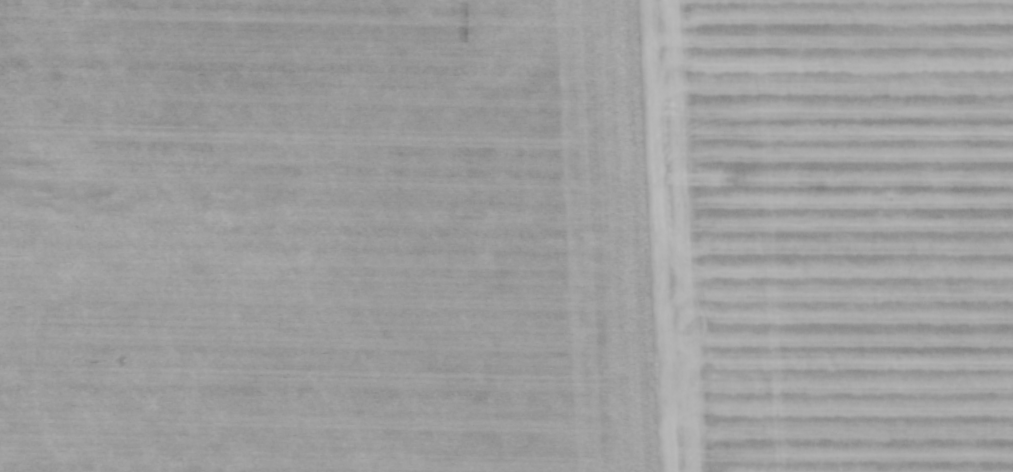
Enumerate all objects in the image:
crop: (506, 236)

